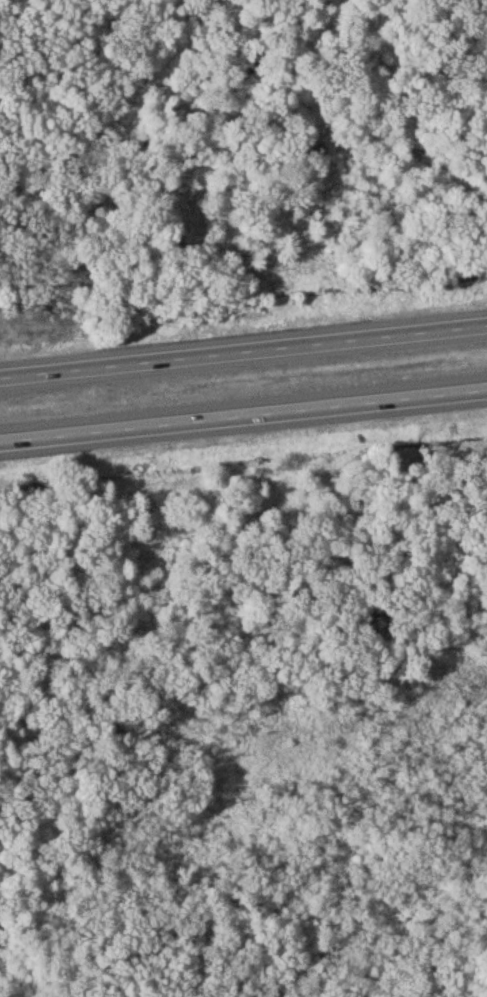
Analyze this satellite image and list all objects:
road: (243, 352)
road: (243, 415)

